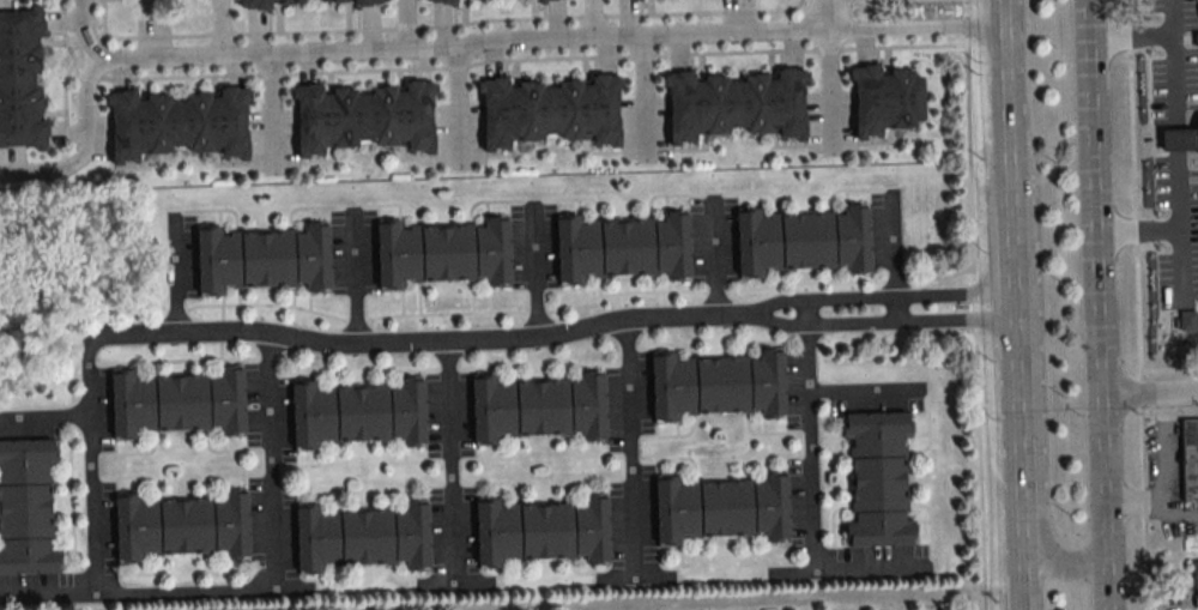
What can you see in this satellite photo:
building: (428, 0)
building: (447, 1)
building: (543, 1)
building: (363, 2)
building: (262, 4)
road: (825, 16)
road: (1169, 17)
road: (403, 24)
road: (220, 26)
road: (86, 29)
road: (913, 30)
road: (1170, 41)
road: (462, 46)
building: (22, 78)
road: (830, 91)
road: (642, 96)
building: (887, 102)
building: (734, 104)
road: (1004, 107)
road: (456, 108)
building: (550, 109)
road: (271, 111)
building: (367, 113)
building: (180, 121)
road: (1174, 141)
road: (84, 147)
road: (1091, 198)
road: (1178, 227)
road: (1136, 231)
building: (803, 240)
building: (622, 248)
building: (442, 253)
road: (1009, 254)
building: (261, 258)
road: (714, 258)
road: (175, 272)
road: (533, 273)
road: (352, 278)
road: (881, 296)
road: (976, 304)
road: (1140, 304)
road: (894, 309)
road: (805, 314)
road: (881, 322)
road: (420, 342)
building: (718, 385)
road: (860, 388)
road: (1149, 395)
building: (176, 403)
building: (538, 407)
building: (357, 413)
road: (44, 415)
road: (811, 451)
road: (1015, 451)
road: (630, 452)
building: (1188, 458)
road: (267, 461)
road: (1037, 465)
road: (1163, 473)
building: (878, 479)
road: (1103, 502)
building: (26, 507)
building: (721, 508)
building: (181, 526)
building: (540, 531)
building: (361, 538)
building: (1194, 580)
road: (273, 590)
road: (55, 593)

